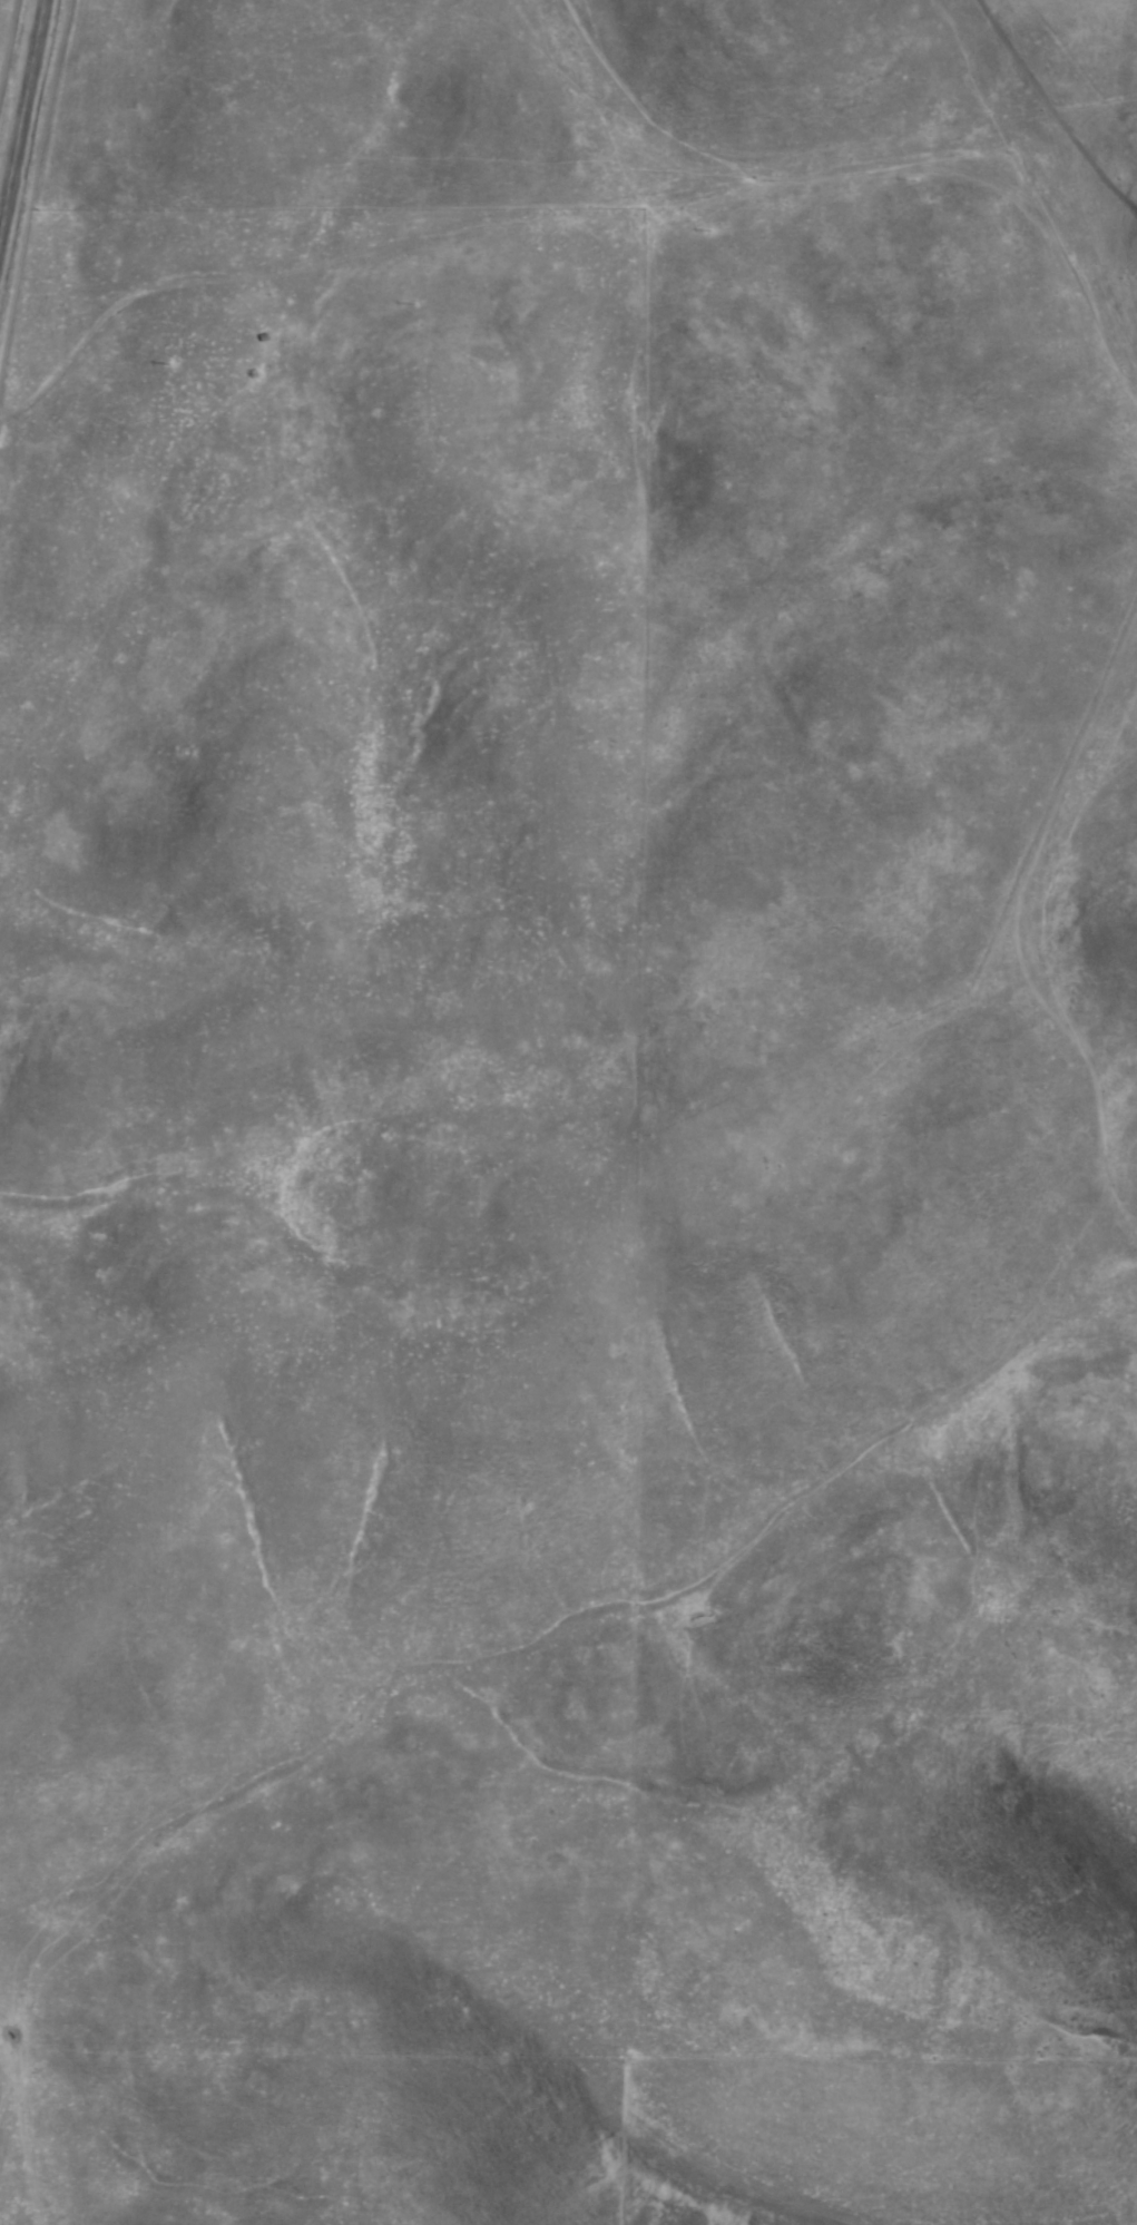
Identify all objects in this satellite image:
road: (21, 109)

